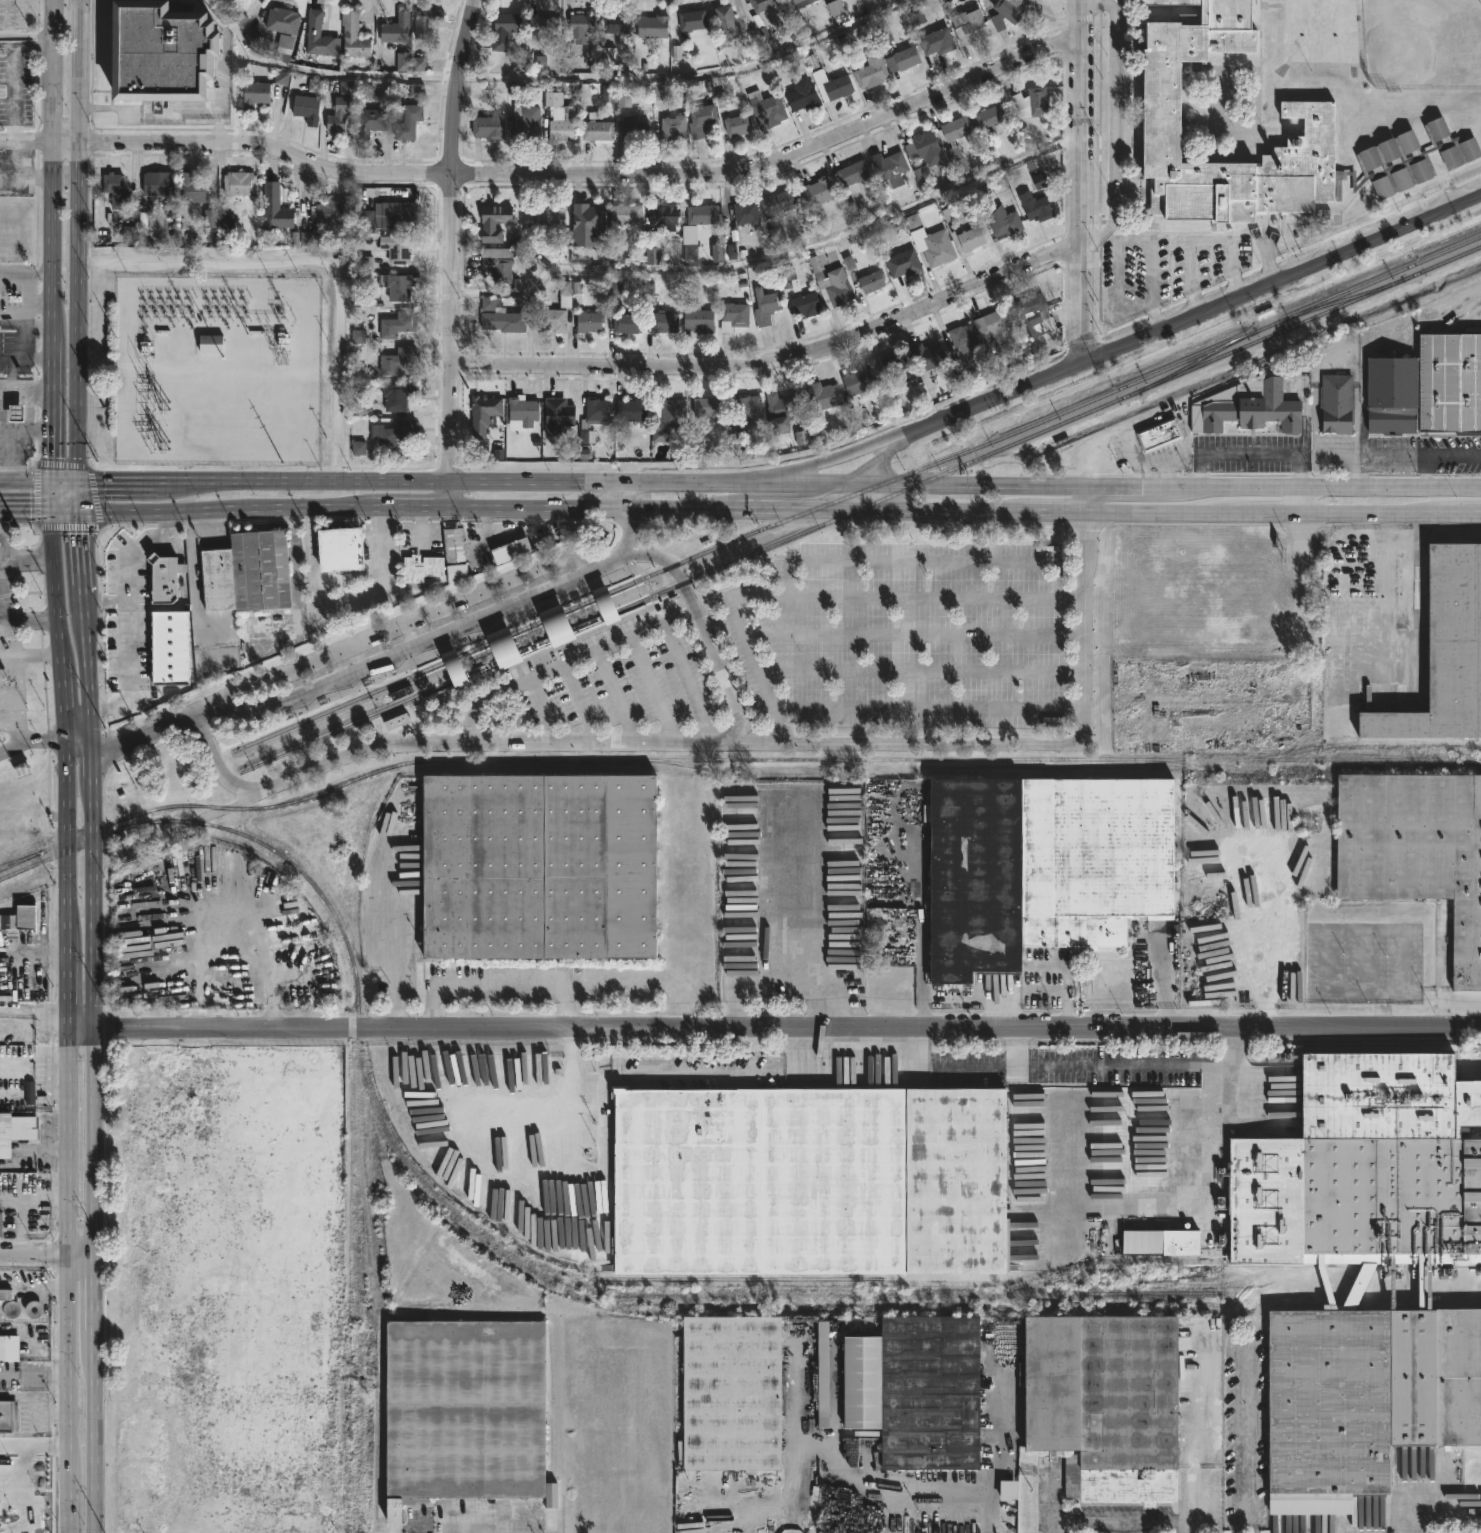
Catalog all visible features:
building: (797, 3)
building: (763, 4)
building: (1006, 13)
building: (693, 19)
building: (282, 20)
building: (424, 20)
building: (614, 23)
building: (538, 25)
building: (649, 25)
building: (728, 25)
building: (969, 25)
building: (396, 29)
building: (501, 29)
building: (579, 33)
building: (318, 35)
building: (353, 35)
road: (26, 42)
building: (935, 42)
building: (166, 51)
building: (608, 56)
building: (904, 58)
building: (408, 62)
road: (80, 70)
building: (869, 71)
road: (586, 82)
road: (459, 87)
building: (833, 88)
building: (255, 94)
building: (799, 95)
building: (1033, 101)
building: (308, 108)
building: (1305, 108)
building: (767, 109)
building: (339, 113)
building: (992, 118)
road: (1085, 118)
building: (702, 120)
building: (370, 121)
building: (523, 123)
building: (408, 124)
building: (738, 124)
building: (670, 126)
building: (486, 127)
road: (1115, 129)
building: (559, 130)
building: (632, 130)
building: (595, 131)
road: (40, 139)
building: (954, 149)
road: (268, 150)
building: (926, 154)
road: (781, 163)
building: (891, 169)
building: (850, 173)
building: (158, 183)
building: (239, 183)
building: (193, 189)
building: (116, 191)
building: (817, 191)
building: (1027, 198)
building: (781, 202)
building: (276, 208)
building: (333, 212)
building: (748, 213)
building: (700, 214)
building: (388, 215)
building: (622, 215)
building: (551, 216)
building: (660, 216)
building: (491, 221)
building: (1004, 221)
building: (586, 222)
building: (971, 238)
road: (52, 239)
road: (1127, 240)
road: (1200, 240)
building: (398, 248)
building: (938, 249)
road: (314, 260)
road: (774, 262)
railway: (1441, 263)
building: (901, 264)
building: (499, 268)
road: (451, 269)
road: (25, 271)
road: (1281, 279)
railway: (1379, 279)
building: (872, 282)
building: (399, 287)
building: (834, 287)
road: (39, 299)
road: (35, 300)
road: (1083, 300)
railway: (1339, 301)
road: (89, 303)
building: (766, 305)
building: (803, 305)
road: (79, 311)
building: (1030, 313)
road: (27, 314)
building: (732, 315)
building: (502, 318)
building: (698, 319)
building: (549, 320)
building: (665, 321)
building: (586, 322)
road: (25, 323)
building: (624, 324)
building: (397, 325)
building: (995, 326)
railway: (1266, 326)
railway: (1269, 335)
building: (964, 339)
building: (211, 346)
building: (928, 357)
road: (1345, 357)
road: (778, 358)
road: (26, 359)
building: (398, 361)
railway: (1196, 361)
building: (895, 367)
power substation: (219, 372)
building: (856, 381)
building: (1449, 386)
road: (25, 387)
building: (822, 395)
building: (397, 396)
building: (1390, 396)
road: (993, 400)
building: (1335, 405)
power tower: (102, 407)
building: (709, 408)
building: (1245, 408)
building: (746, 409)
building: (783, 410)
building: (520, 411)
building: (628, 412)
building: (480, 414)
building: (558, 416)
building: (594, 418)
road: (1160, 418)
building: (668, 419)
road: (1315, 419)
road: (1355, 420)
road: (449, 422)
building: (392, 433)
building: (1157, 436)
road: (1105, 439)
building: (1, 445)
gas station: (1, 445)
road: (1249, 452)
road: (1335, 453)
road: (1385, 453)
road: (1419, 453)
road: (1452, 453)
road: (827, 460)
road: (877, 461)
road: (60, 462)
road: (1089, 465)
road: (1355, 469)
road: (1423, 469)
road: (25, 479)
traffic signals: (51, 480)
road: (65, 480)
traffic signals: (79, 481)
road: (263, 481)
road: (648, 483)
road: (969, 486)
road: (1125, 486)
road: (1320, 486)
railway: (852, 493)
road: (34, 494)
road: (51, 494)
road: (78, 495)
road: (93, 496)
road: (448, 496)
road: (622, 496)
road: (778, 497)
road: (1089, 500)
road: (1301, 501)
road: (26, 507)
road: (262, 508)
traffic signals: (52, 509)
road: (65, 509)
road: (539, 509)
traffic signals: (78, 510)
road: (1055, 514)
road: (355, 518)
road: (629, 520)
road: (856, 521)
road: (17, 524)
road: (67, 527)
power tower: (16, 528)
road: (627, 532)
railway: (797, 533)
road: (1393, 541)
road: (4, 547)
building: (339, 549)
building: (510, 549)
building: (455, 552)
road: (22, 558)
road: (610, 562)
road: (924, 562)
building: (0, 563)
building: (421, 567)
building: (248, 571)
building: (164, 581)
road: (297, 588)
road: (831, 598)
road: (104, 603)
building: (605, 608)
road: (126, 614)
road: (9, 616)
road: (404, 620)
road: (56, 625)
road: (83, 628)
building: (550, 630)
road: (701, 632)
parking lot: (907, 635)
road: (916, 636)
building: (147, 642)
road: (406, 646)
road: (615, 646)
building: (168, 647)
building: (504, 650)
building: (1444, 650)
road: (28, 654)
building: (454, 670)
road: (923, 672)
road: (17, 680)
parking lot: (611, 686)
railway: (423, 688)
road: (654, 692)
road: (619, 699)
railway: (343, 704)
road: (581, 706)
road: (932, 709)
road: (206, 711)
road: (544, 713)
road: (20, 714)
road: (514, 719)
railway: (350, 723)
building: (397, 723)
road: (143, 737)
road: (30, 740)
railway: (1363, 741)
road: (76, 744)
road: (1032, 744)
road: (446, 747)
railway: (789, 757)
railway: (676, 762)
railway: (1240, 766)
railway: (175, 795)
building: (1277, 798)
road: (178, 826)
building: (1416, 850)
railway: (21, 858)
railway: (294, 861)
building: (796, 864)
building: (534, 865)
building: (1044, 866)
railway: (23, 868)
road: (65, 884)
road: (93, 886)
building: (22, 918)
road: (393, 926)
road: (1441, 965)
road: (1165, 977)
road: (495, 980)
road: (1066, 990)
road: (32, 1011)
road: (81, 1027)
road: (788, 1029)
road: (1015, 1047)
road: (1083, 1065)
road: (683, 1075)
road: (484, 1101)
building: (19, 1128)
road: (96, 1142)
road: (66, 1143)
road: (30, 1150)
building: (1362, 1167)
building: (806, 1180)
road: (1170, 1208)
road: (21, 1218)
building: (1, 1225)
building: (1160, 1241)
road: (33, 1258)
road: (82, 1258)
railway: (1149, 1276)
railway: (738, 1278)
railway: (1182, 1278)
building: (252, 1283)
road: (33, 1289)
railway: (1135, 1292)
railway: (1175, 1300)
building: (9, 1309)
building: (8, 1349)
building: (917, 1390)
building: (732, 1393)
road: (97, 1395)
road: (67, 1396)
building: (1362, 1399)
road: (1198, 1400)
building: (1106, 1401)
building: (462, 1412)
road: (45, 1413)
building: (7, 1414)
road: (806, 1428)
road: (1241, 1435)
road: (1000, 1447)
road: (8, 1456)
building: (1009, 1491)
road: (948, 1496)
road: (1188, 1499)
road: (475, 1518)
road: (1118, 1521)
road: (1241, 1528)

